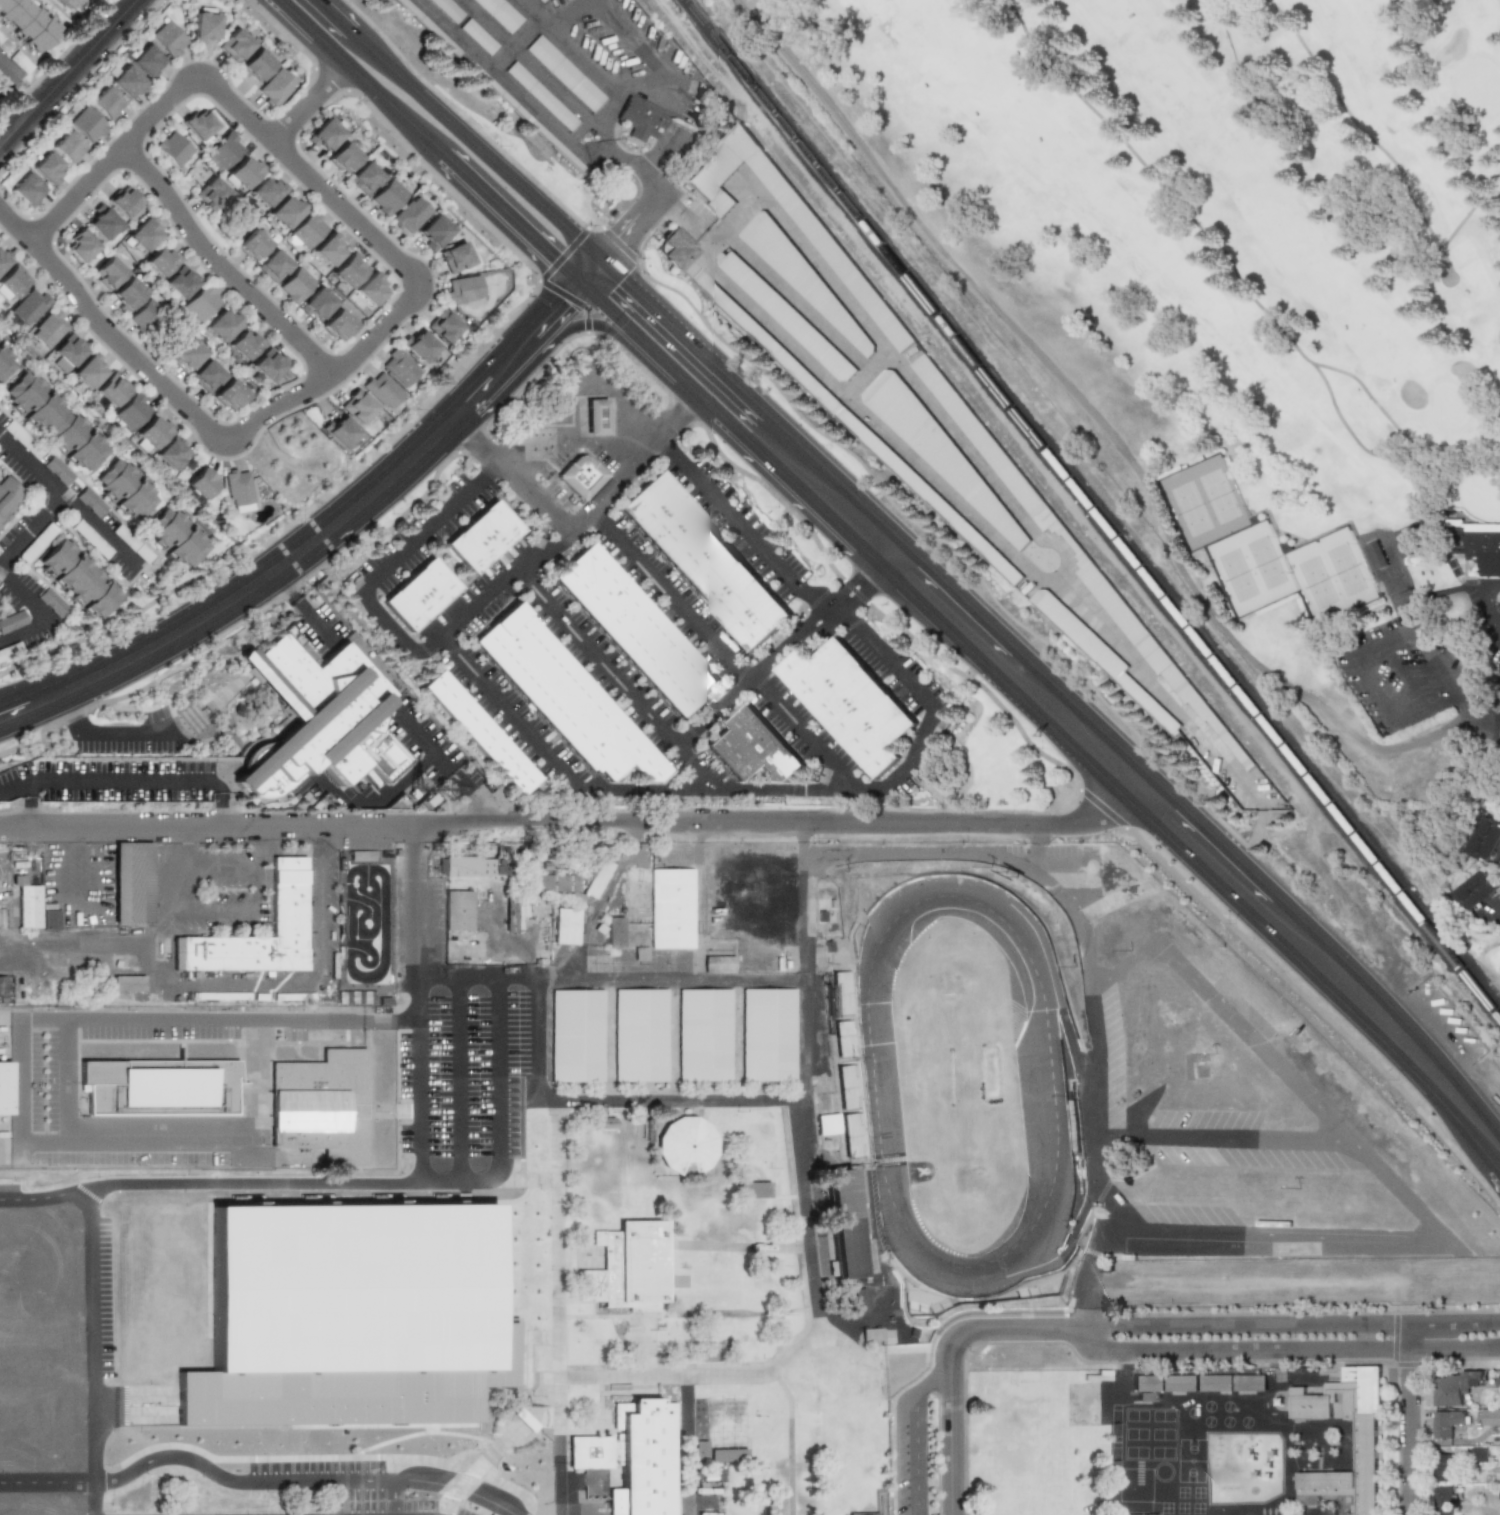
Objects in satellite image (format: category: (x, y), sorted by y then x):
building: (539, 0)
building: (67, 3)
building: (447, 9)
building: (500, 14)
road: (564, 15)
road: (297, 18)
building: (25, 24)
building: (204, 27)
building: (428, 27)
building: (478, 36)
building: (167, 39)
building: (3, 45)
building: (234, 45)
road: (654, 60)
building: (147, 61)
building: (18, 62)
road: (525, 62)
building: (254, 65)
parking lot: (11, 66)
road: (7, 71)
road: (493, 72)
road: (592, 72)
building: (564, 73)
road: (70, 74)
street lamp: (230, 74)
road: (198, 80)
building: (127, 82)
building: (2, 83)
building: (274, 87)
building: (540, 96)
road: (378, 97)
building: (105, 103)
road: (310, 105)
street lamp: (137, 112)
building: (640, 118)
building: (529, 121)
building: (87, 124)
road: (1354, 124)
building: (197, 125)
road: (671, 127)
road: (462, 130)
road: (604, 132)
building: (324, 135)
building: (67, 147)
building: (173, 149)
building: (223, 150)
building: (343, 157)
road: (621, 157)
building: (46, 168)
building: (243, 173)
building: (364, 178)
street lamp: (176, 185)
building: (27, 190)
building: (266, 191)
building: (211, 194)
road: (78, 195)
street lamp: (97, 196)
building: (387, 196)
building: (123, 201)
street lamp: (362, 207)
road: (1468, 209)
building: (286, 212)
building: (408, 215)
road: (737, 215)
building: (102, 221)
road: (509, 223)
road: (16, 225)
building: (307, 230)
building: (433, 231)
building: (143, 233)
building: (80, 245)
building: (252, 245)
road: (1213, 245)
traffic signals: (617, 246)
building: (327, 249)
street lamp: (20, 254)
road: (393, 255)
building: (454, 257)
building: (3, 259)
building: (160, 260)
traffic signals: (550, 263)
building: (273, 266)
road: (222, 268)
building: (348, 270)
building: (108, 271)
building: (799, 276)
street lamp: (211, 277)
building: (13, 281)
building: (180, 281)
street lamp: (439, 281)
building: (852, 281)
traffic signals: (625, 282)
road: (1450, 283)
building: (296, 285)
building: (370, 289)
building: (462, 289)
building: (127, 295)
building: (200, 302)
road: (591, 302)
building: (317, 303)
traffic signals: (563, 304)
building: (28, 307)
park: (1233, 311)
building: (738, 313)
road: (805, 313)
street lamp: (293, 314)
building: (784, 316)
building: (147, 317)
building: (336, 324)
street lamp: (121, 325)
building: (222, 325)
building: (443, 325)
building: (48, 328)
road: (578, 332)
building: (245, 343)
building: (418, 346)
building: (69, 349)
building: (187, 353)
street lamp: (374, 361)
building: (4, 362)
building: (268, 364)
building: (60, 365)
building: (399, 366)
building: (87, 370)
road: (721, 373)
building: (206, 376)
road: (855, 383)
building: (111, 389)
building: (381, 390)
road: (170, 392)
building: (229, 394)
street lamp: (267, 396)
building: (356, 406)
building: (131, 411)
road: (670, 412)
road: (711, 415)
gas station: (595, 417)
building: (596, 417)
road: (943, 418)
road: (1097, 420)
building: (54, 421)
street lamp: (183, 424)
building: (340, 431)
building: (153, 432)
building: (22, 439)
building: (935, 451)
building: (172, 452)
road: (1380, 456)
road: (916, 461)
building: (189, 465)
road: (624, 470)
building: (57, 471)
road: (300, 472)
road: (696, 476)
building: (583, 478)
building: (201, 482)
building: (237, 487)
building: (125, 488)
building: (191, 493)
park: (1217, 496)
building: (8, 498)
building: (930, 498)
road: (71, 501)
building: (91, 502)
railway: (1091, 508)
park: (1189, 508)
building: (1253, 519)
road: (330, 530)
road: (33, 531)
building: (177, 536)
building: (91, 539)
building: (485, 540)
building: (36, 543)
building: (132, 544)
building: (1475, 544)
parking lot: (116, 545)
building: (1284, 547)
building: (1375, 555)
park: (1265, 562)
building: (705, 563)
building: (1084, 563)
road: (390, 564)
building: (1452, 564)
park: (1344, 569)
building: (1456, 572)
park: (1236, 575)
building: (78, 578)
park: (1315, 582)
building: (422, 597)
road: (1400, 601)
building: (52, 602)
road: (1481, 605)
road: (41, 611)
road: (853, 617)
building: (12, 621)
building: (636, 631)
building: (10, 651)
building: (305, 652)
building: (1099, 654)
road: (1351, 661)
road: (1400, 677)
building: (569, 699)
building: (850, 706)
road: (1477, 711)
road: (399, 712)
building: (322, 719)
road: (520, 725)
road: (1491, 731)
road: (103, 732)
building: (480, 734)
building: (755, 750)
road: (833, 763)
road: (126, 780)
road: (378, 800)
road: (1173, 815)
road: (591, 826)
road: (802, 838)
building: (1484, 838)
road: (83, 849)
road: (262, 854)
road: (998, 854)
building: (361, 855)
building: (462, 866)
building: (597, 878)
parking lot: (220, 881)
building: (551, 882)
building: (131, 883)
building: (1475, 889)
building: (294, 899)
road: (730, 900)
road: (84, 902)
building: (28, 906)
building: (672, 908)
road: (175, 913)
building: (459, 914)
building: (512, 915)
building: (50, 920)
building: (566, 926)
building: (615, 932)
road: (74, 949)
building: (640, 954)
road: (1479, 963)
building: (718, 964)
road: (476, 977)
building: (127, 983)
road: (265, 984)
building: (2, 987)
building: (841, 993)
road: (93, 1018)
road: (1443, 1029)
building: (768, 1034)
building: (641, 1035)
building: (705, 1035)
building: (580, 1036)
building: (844, 1038)
parking lot: (467, 1040)
road: (66, 1081)
building: (4, 1088)
building: (161, 1090)
raceway: (1041, 1094)
road: (807, 1096)
building: (850, 1110)
building: (321, 1114)
road: (501, 1118)
building: (604, 1124)
building: (827, 1124)
road: (1220, 1137)
building: (686, 1145)
road: (1387, 1179)
road: (286, 1182)
building: (753, 1190)
building: (842, 1223)
raceway: (1038, 1227)
road: (1101, 1234)
building: (643, 1267)
building: (603, 1276)
building: (271, 1284)
building: (859, 1300)
road: (1292, 1325)
road: (1022, 1331)
road: (92, 1334)
building: (870, 1334)
road: (1290, 1351)
building: (1147, 1381)
building: (1181, 1381)
building: (1216, 1381)
building: (1250, 1381)
building: (1454, 1388)
building: (1147, 1395)
building: (1490, 1417)
road: (1412, 1419)
building: (1446, 1423)
road: (950, 1426)
road: (919, 1433)
building: (1364, 1444)
road: (685, 1452)
building: (700, 1452)
building: (593, 1454)
building: (1478, 1454)
building: (727, 1455)
building: (645, 1459)
building: (1442, 1467)
road: (45, 1479)
road: (237, 1480)
road: (456, 1487)
road: (393, 1495)
road: (91, 1497)
building: (564, 1497)
building: (1443, 1500)
road: (563, 1512)
building: (861, 1513)
building: (1129, 1514)
building: (1150, 1514)

